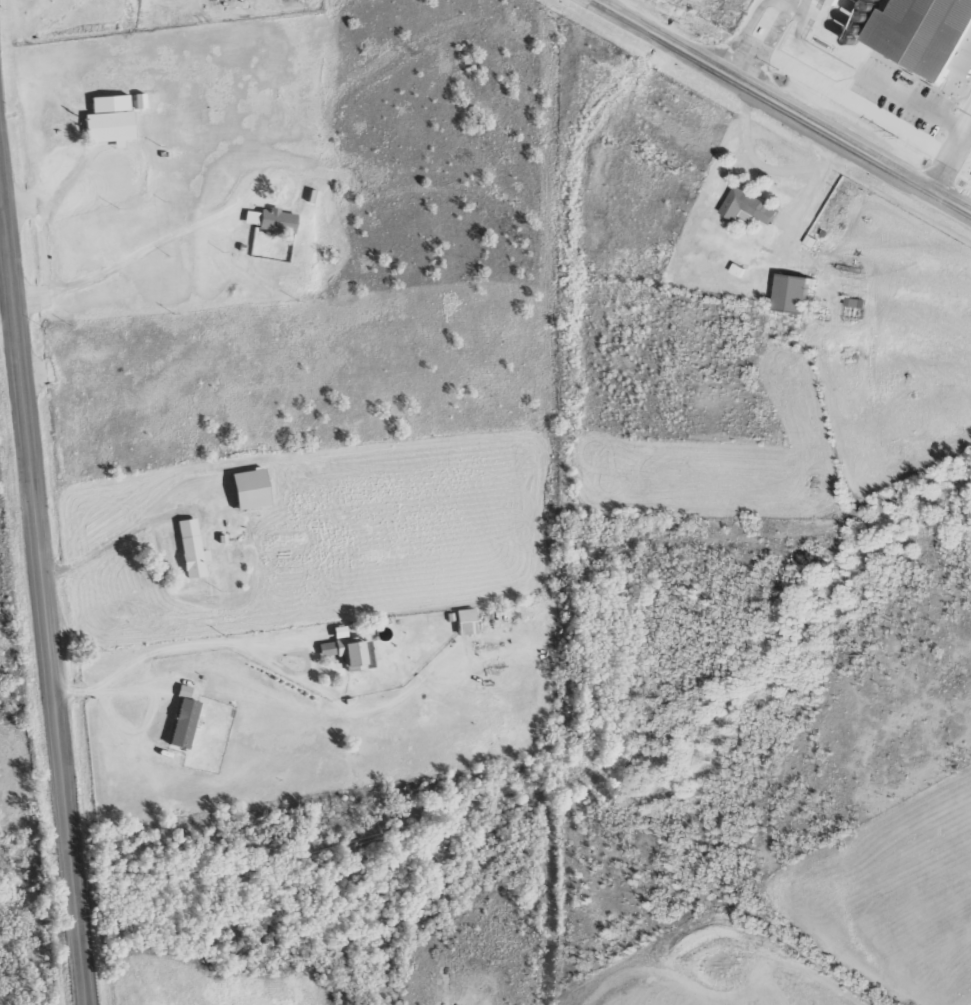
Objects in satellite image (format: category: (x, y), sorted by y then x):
building: (840, 1)
building: (921, 41)
building: (144, 101)
road: (785, 104)
building: (104, 123)
building: (754, 206)
building: (276, 221)
road: (7, 289)
building: (799, 294)
building: (249, 488)
building: (191, 547)
building: (467, 620)
building: (339, 632)
building: (367, 650)
building: (344, 651)
road: (48, 683)
building: (183, 689)
building: (183, 722)

